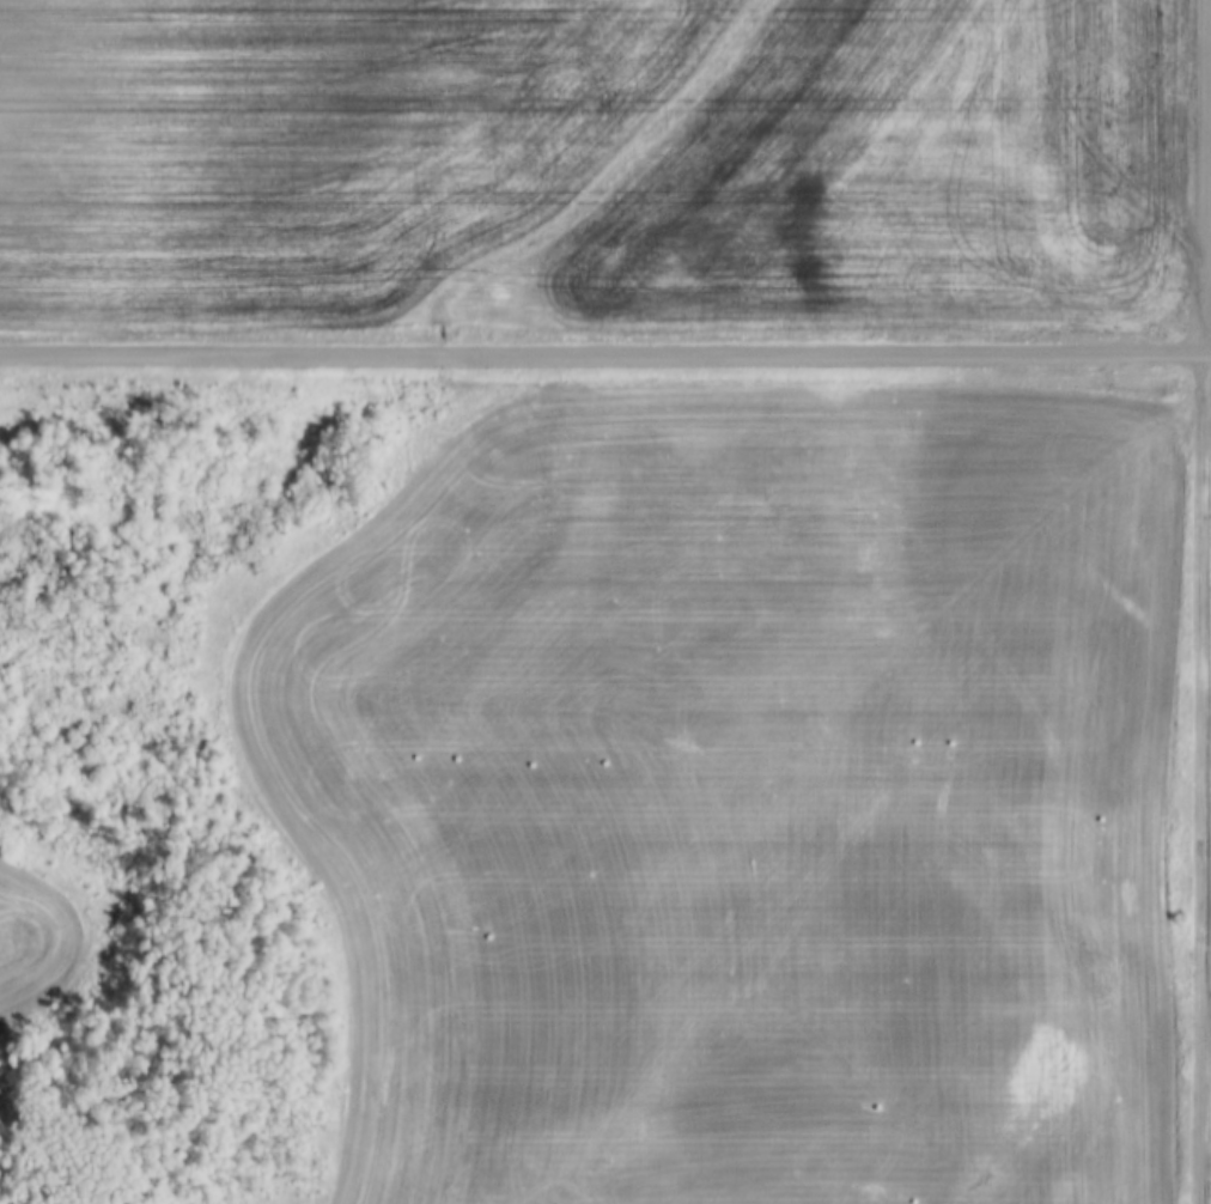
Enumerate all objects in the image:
road: (1210, 330)
road: (604, 353)
road: (1199, 778)

